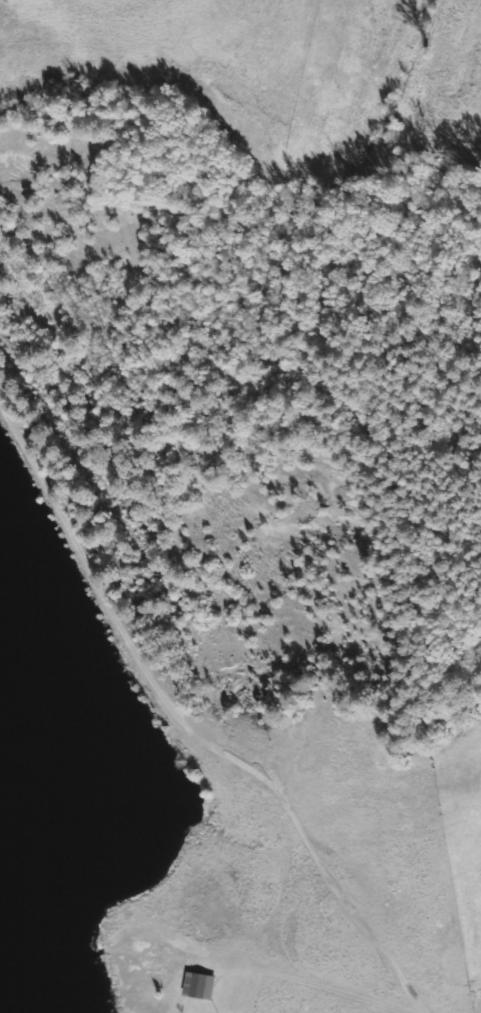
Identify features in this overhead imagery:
building: (199, 984)

